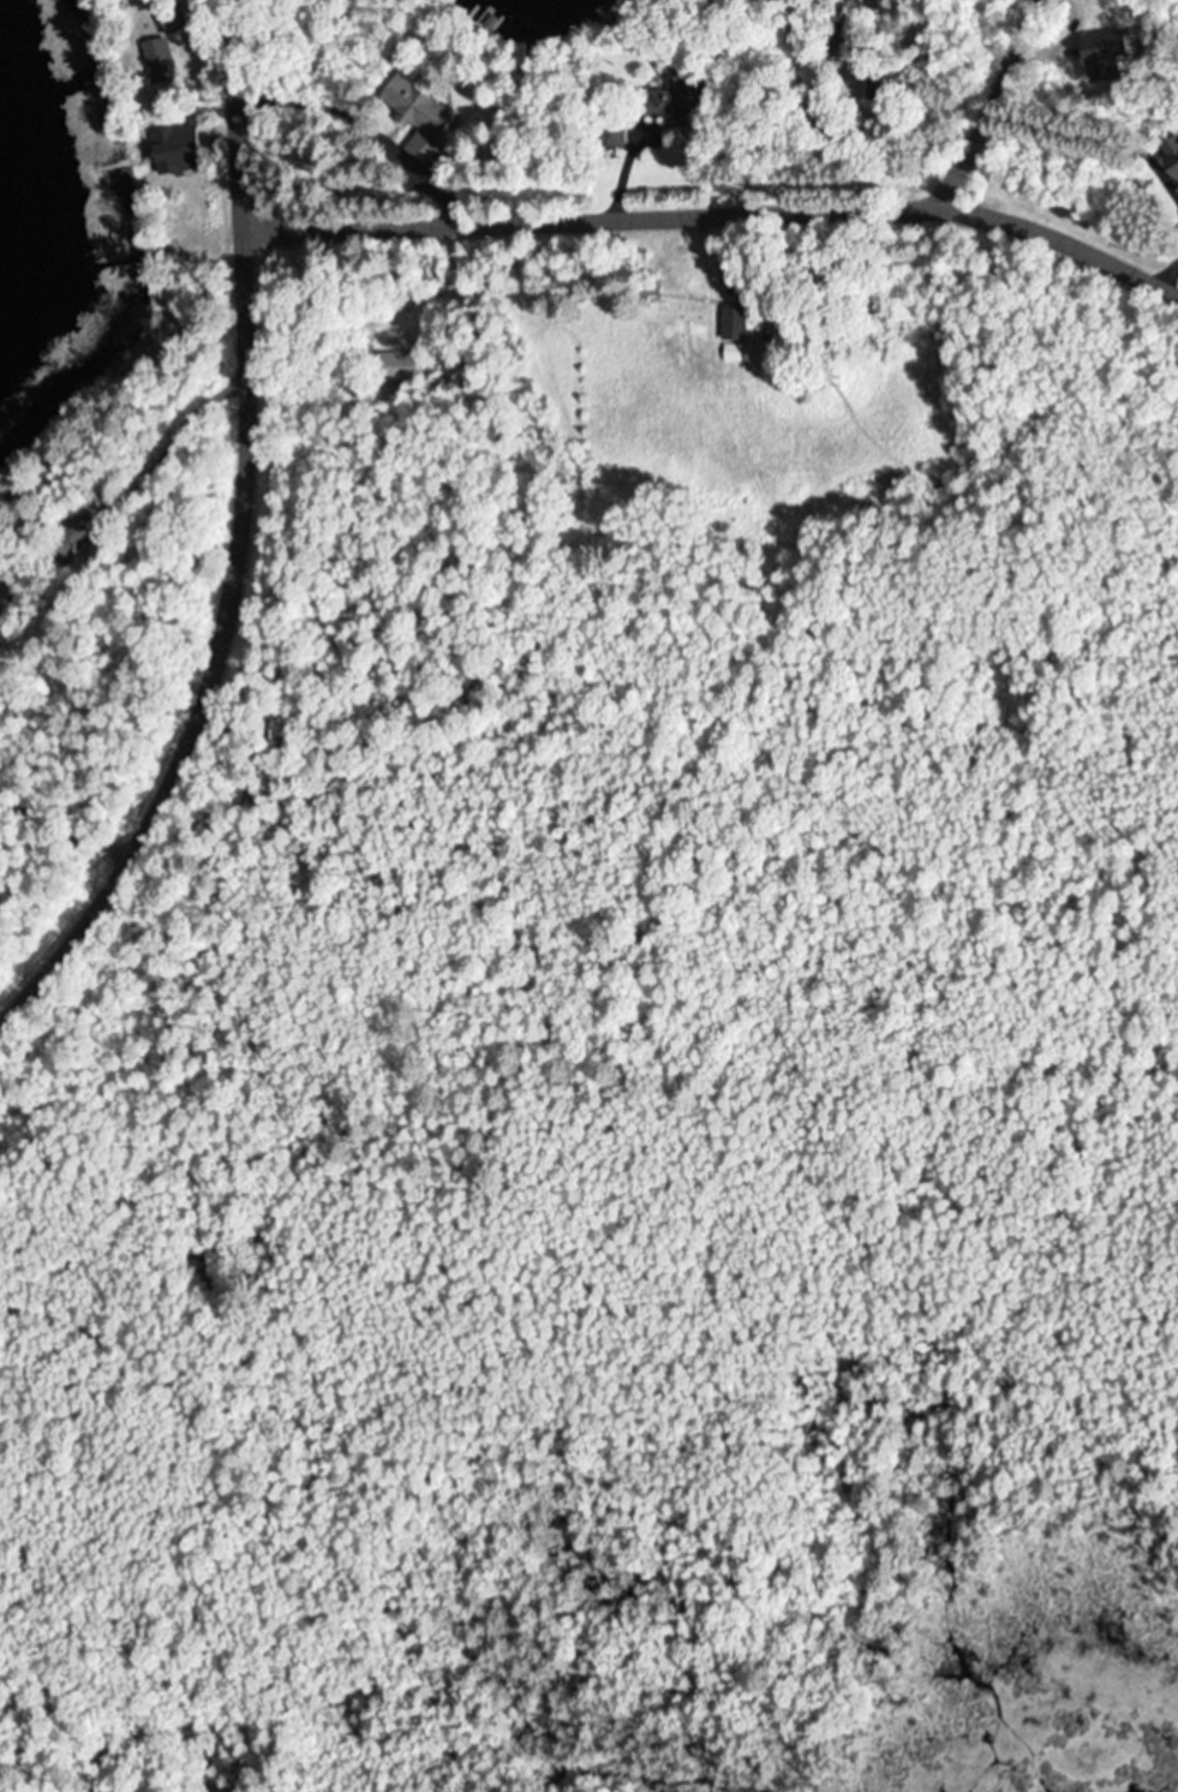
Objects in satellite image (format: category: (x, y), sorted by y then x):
building: (494, 18)
building: (156, 61)
building: (1099, 61)
road: (981, 101)
building: (663, 102)
building: (417, 118)
building: (610, 133)
building: (171, 149)
building: (1172, 172)
road: (716, 207)
building: (394, 364)
road: (560, 437)
building: (76, 533)
road: (234, 539)
road: (38, 890)

